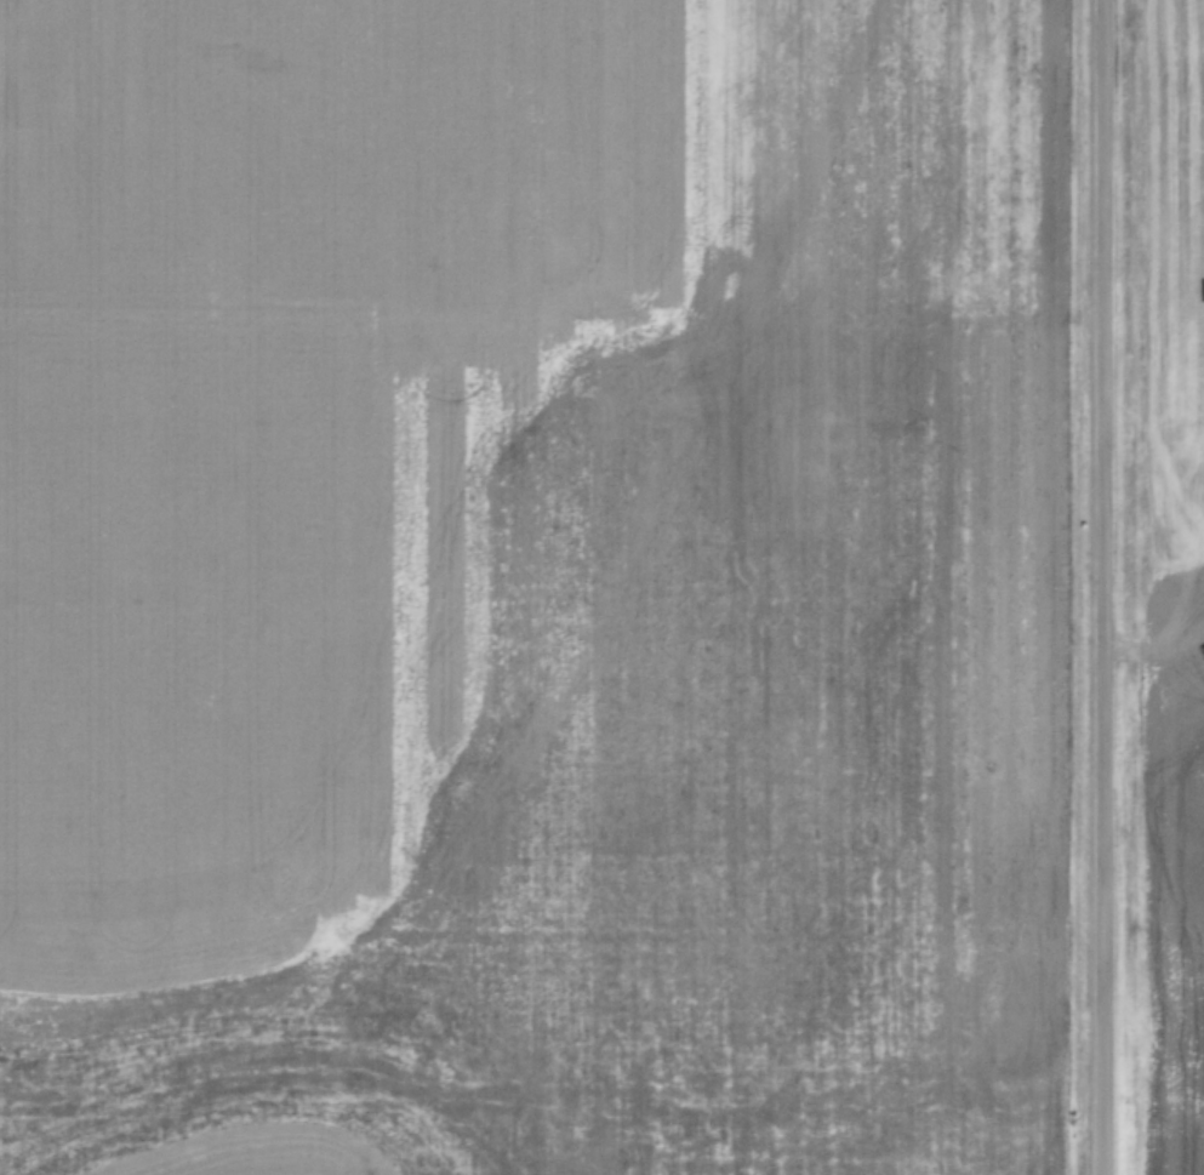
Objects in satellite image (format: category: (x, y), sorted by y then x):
road: (1107, 587)

